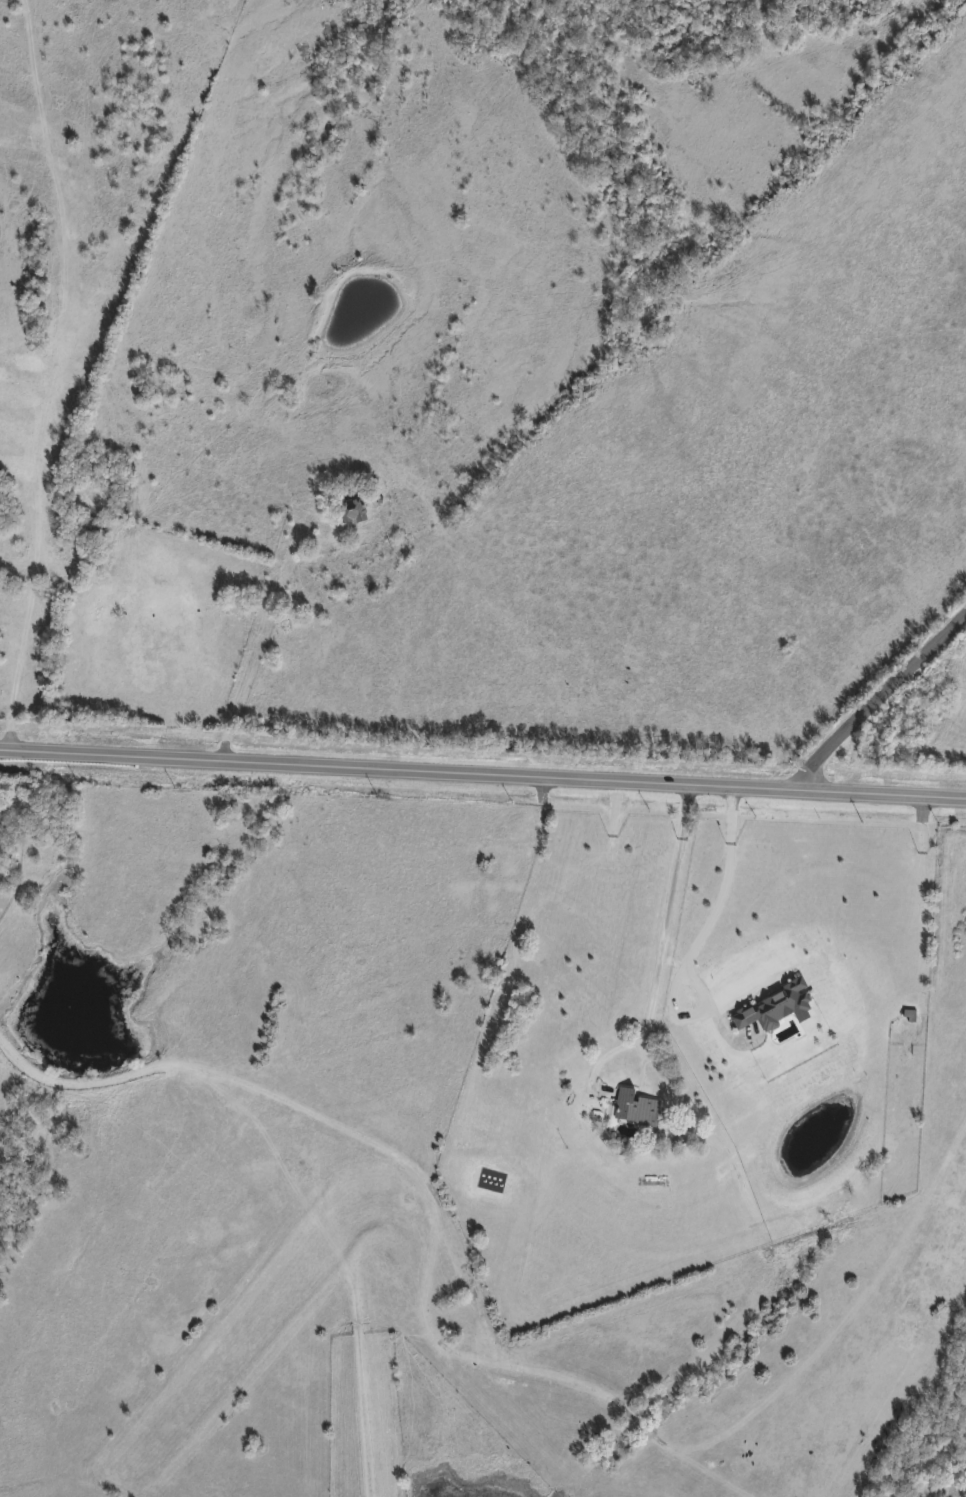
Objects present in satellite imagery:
building: (353, 513)
road: (303, 516)
building: (82, 529)
road: (23, 631)
road: (250, 653)
road: (881, 702)
road: (483, 773)
road: (707, 924)
road: (659, 948)
building: (637, 1110)
road: (504, 1348)

